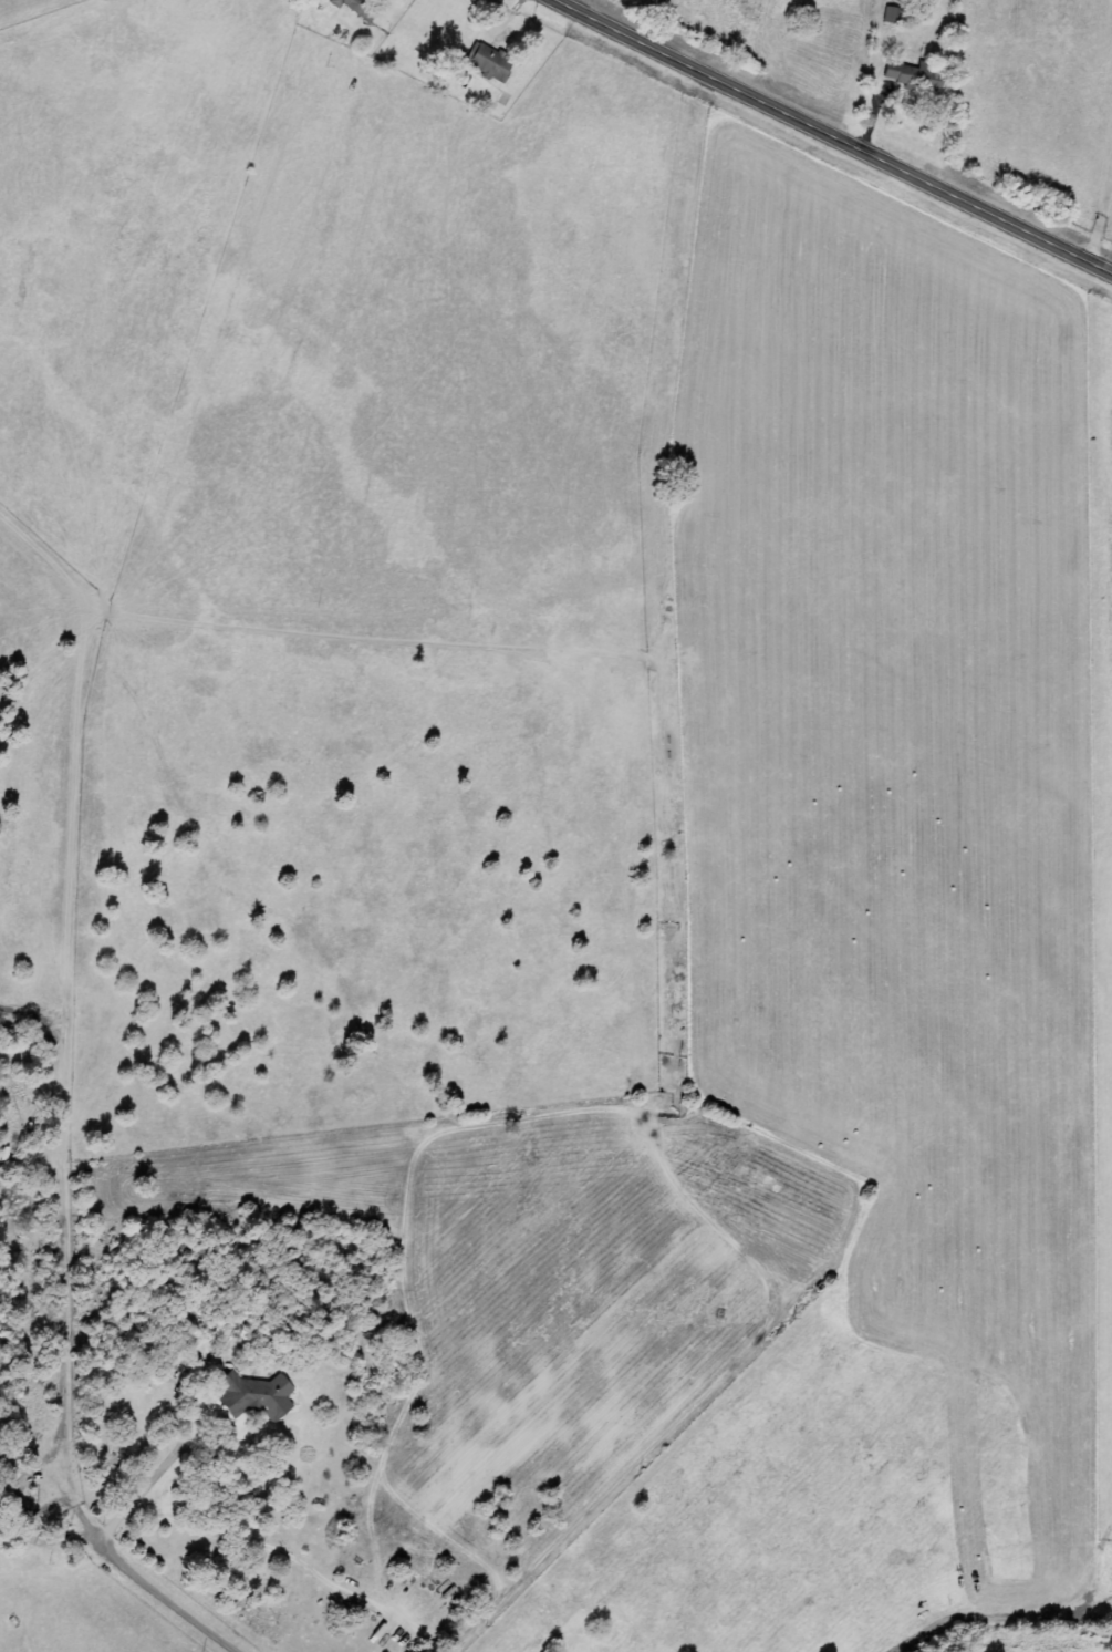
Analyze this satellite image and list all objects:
building: (356, 6)
building: (892, 16)
building: (490, 62)
building: (905, 74)
road: (841, 130)
building: (257, 1395)

